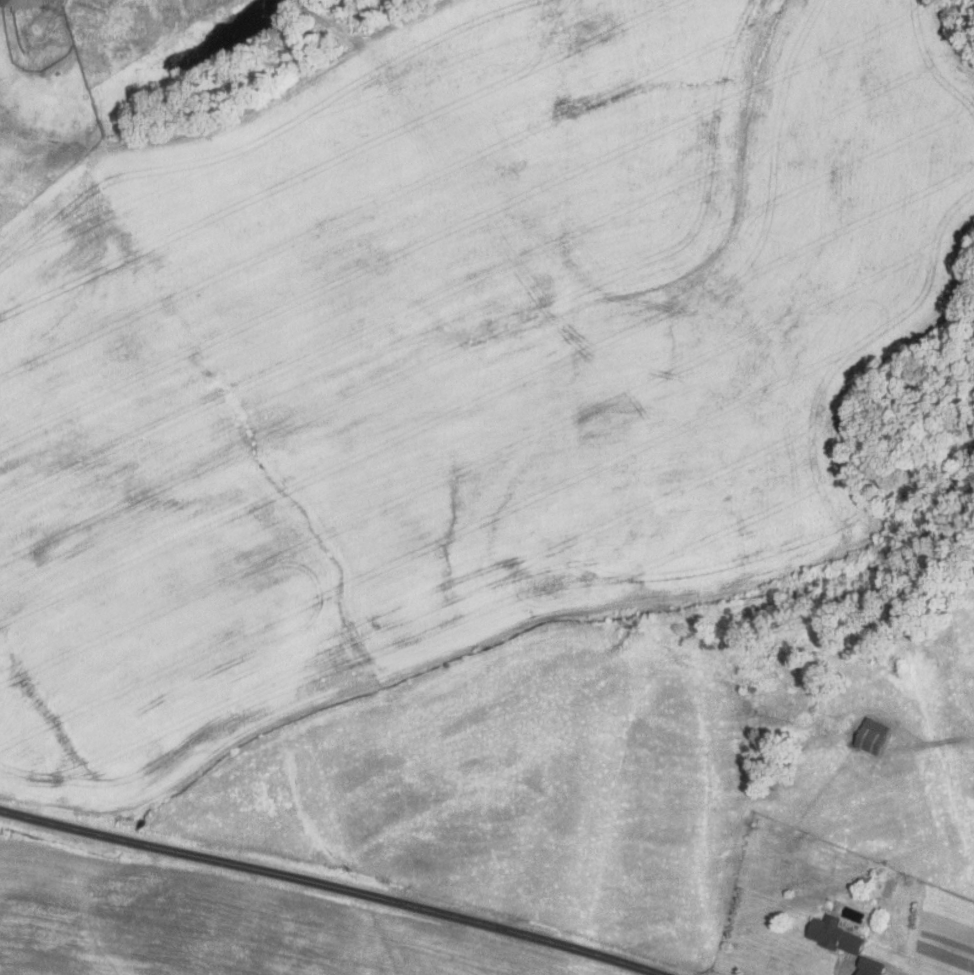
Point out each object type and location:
building: (19, 3)
building: (870, 735)
road: (333, 885)
building: (833, 935)
building: (869, 967)
building: (863, 972)

